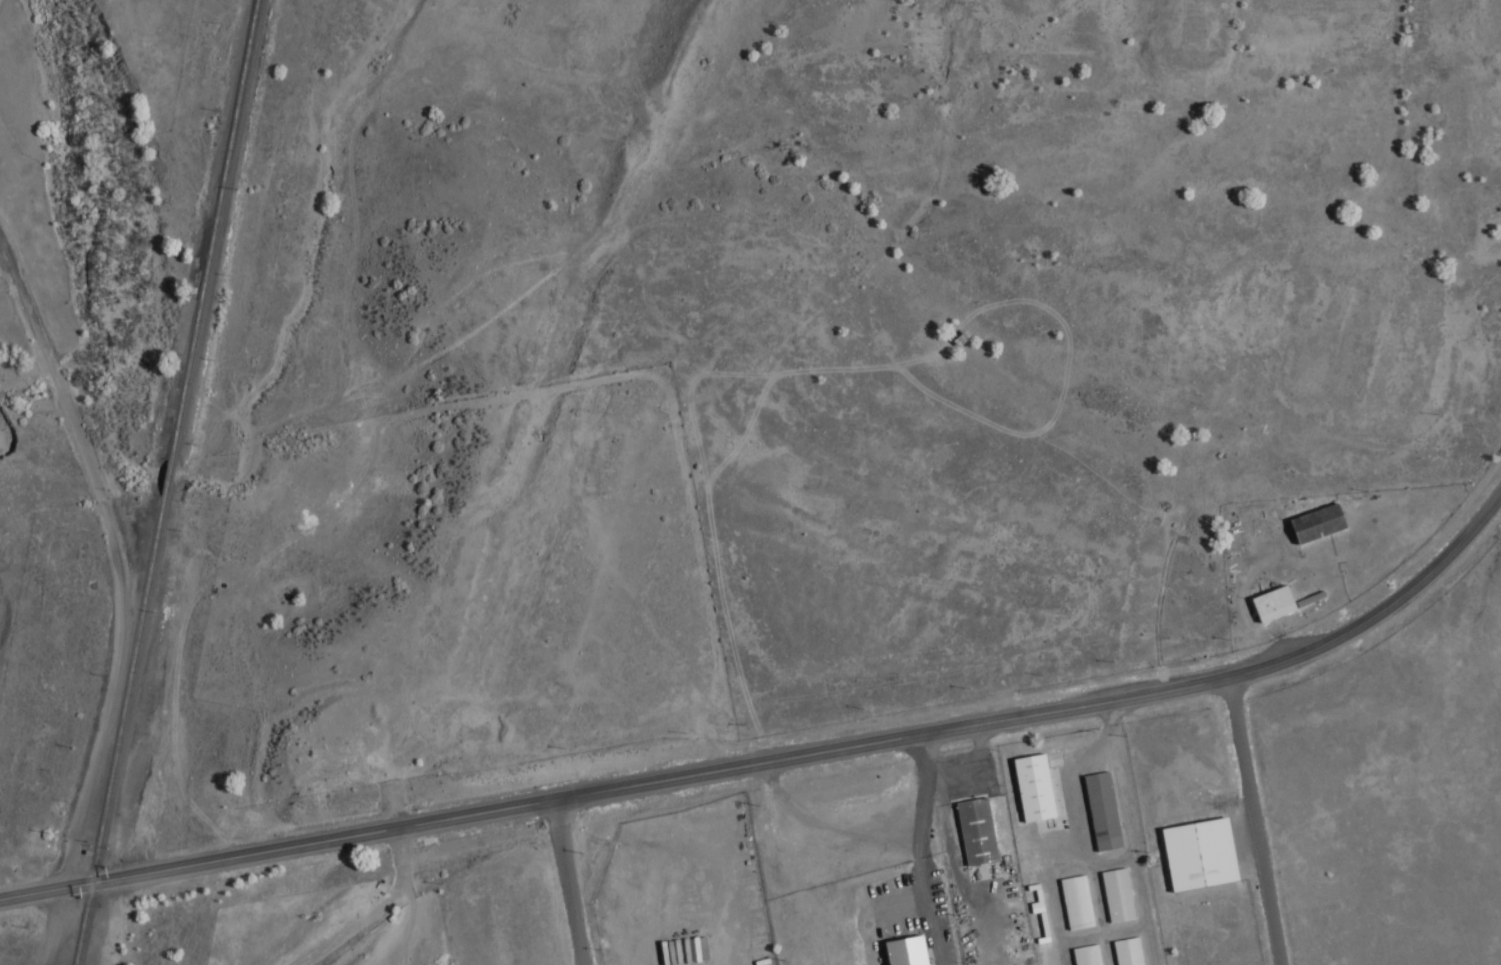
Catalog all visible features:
railway: (210, 230)
railway: (162, 480)
building: (1309, 521)
building: (1263, 600)
railway: (115, 732)
road: (780, 758)
building: (1026, 784)
road: (921, 806)
building: (1096, 808)
road: (1261, 819)
road: (828, 821)
building: (969, 827)
building: (1191, 851)
road: (567, 881)
building: (1111, 892)
building: (1069, 898)
road: (411, 900)
road: (866, 907)
road: (925, 923)
road: (39, 927)
building: (696, 948)
building: (896, 950)
building: (1121, 950)
building: (1079, 953)

